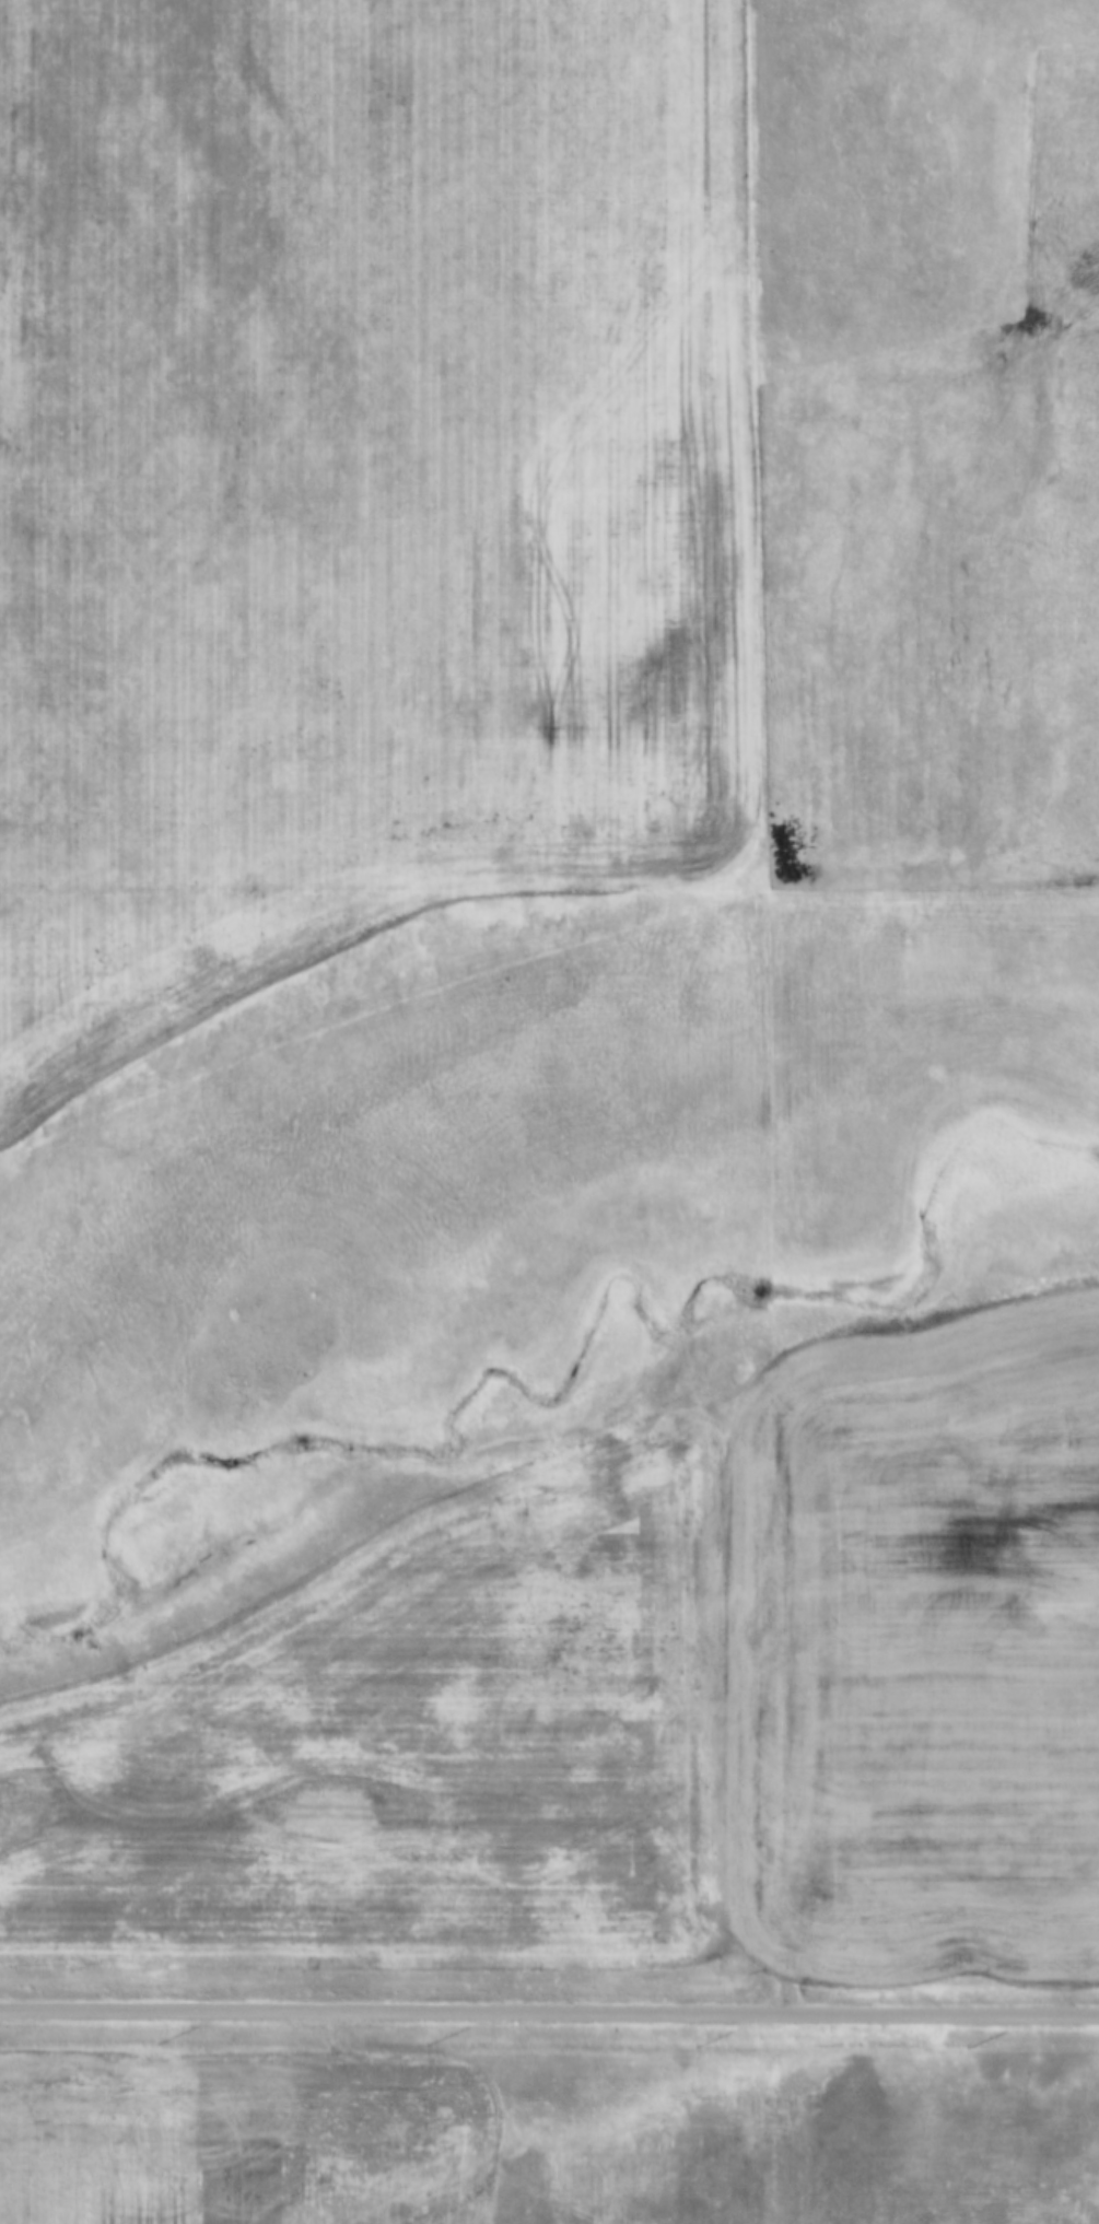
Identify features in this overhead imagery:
road: (549, 2006)

